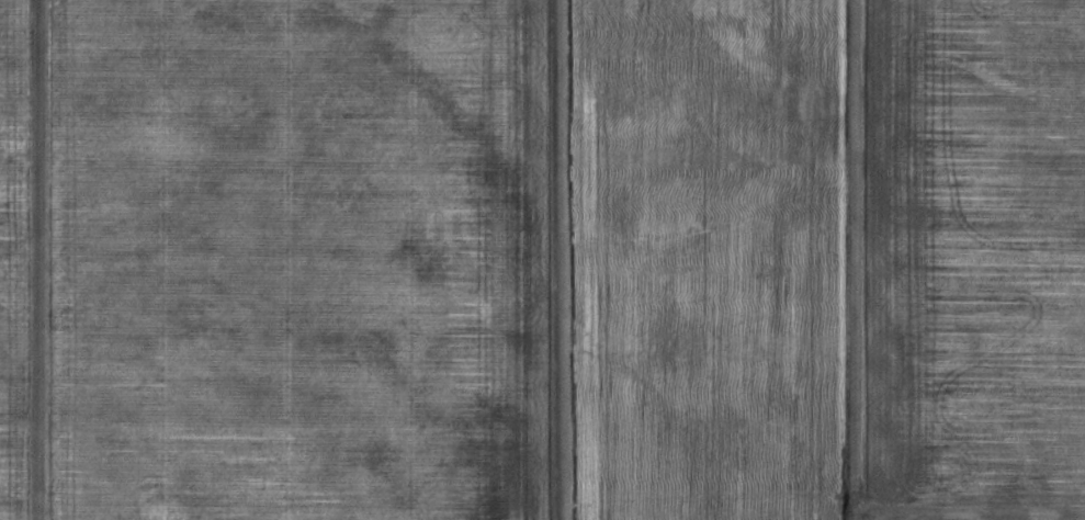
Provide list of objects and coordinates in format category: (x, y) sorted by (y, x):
road: (561, 260)

